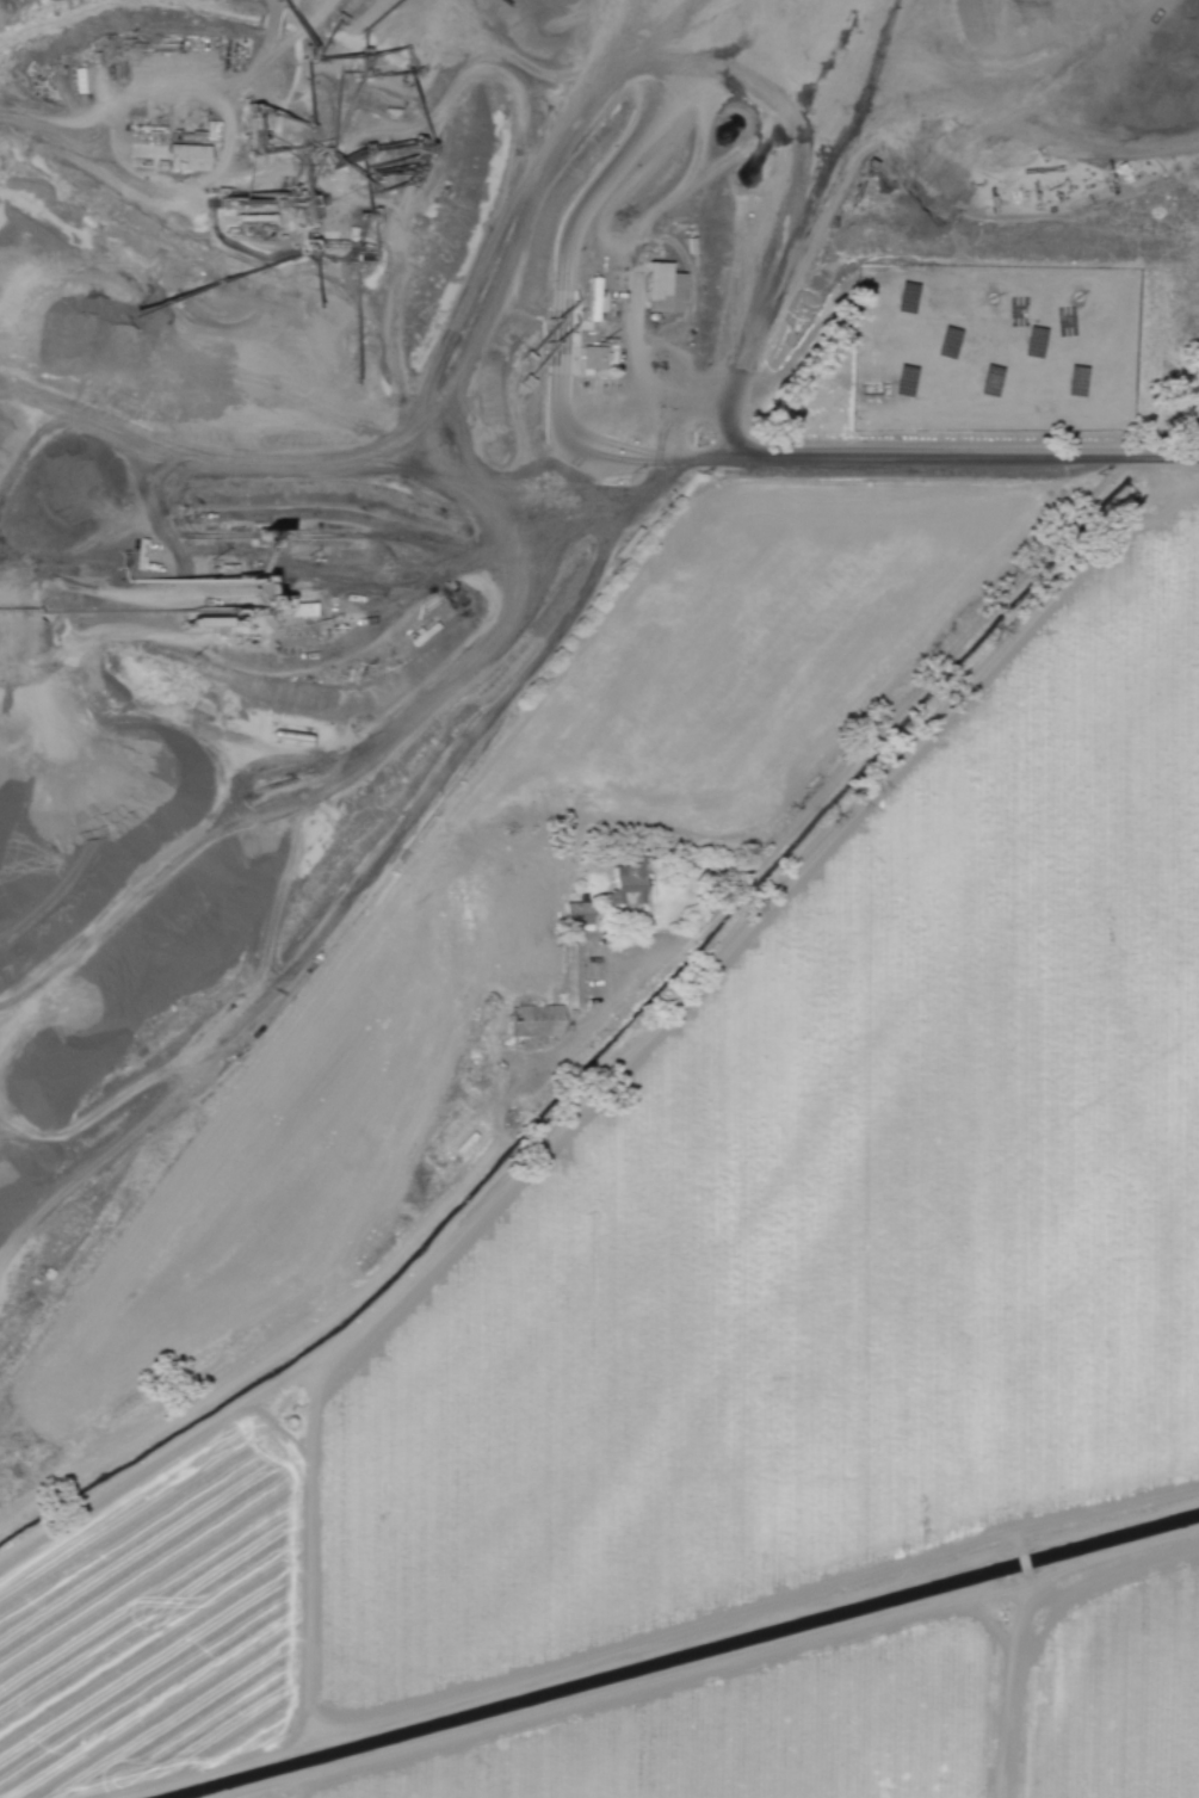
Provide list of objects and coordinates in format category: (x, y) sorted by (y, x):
building: (78, 81)
building: (186, 159)
building: (662, 289)
building: (594, 358)
road: (679, 397)
road: (703, 453)
road: (957, 456)
quarry: (464, 496)
road: (888, 717)
building: (628, 884)
building: (579, 913)
building: (573, 975)
building: (536, 1021)

